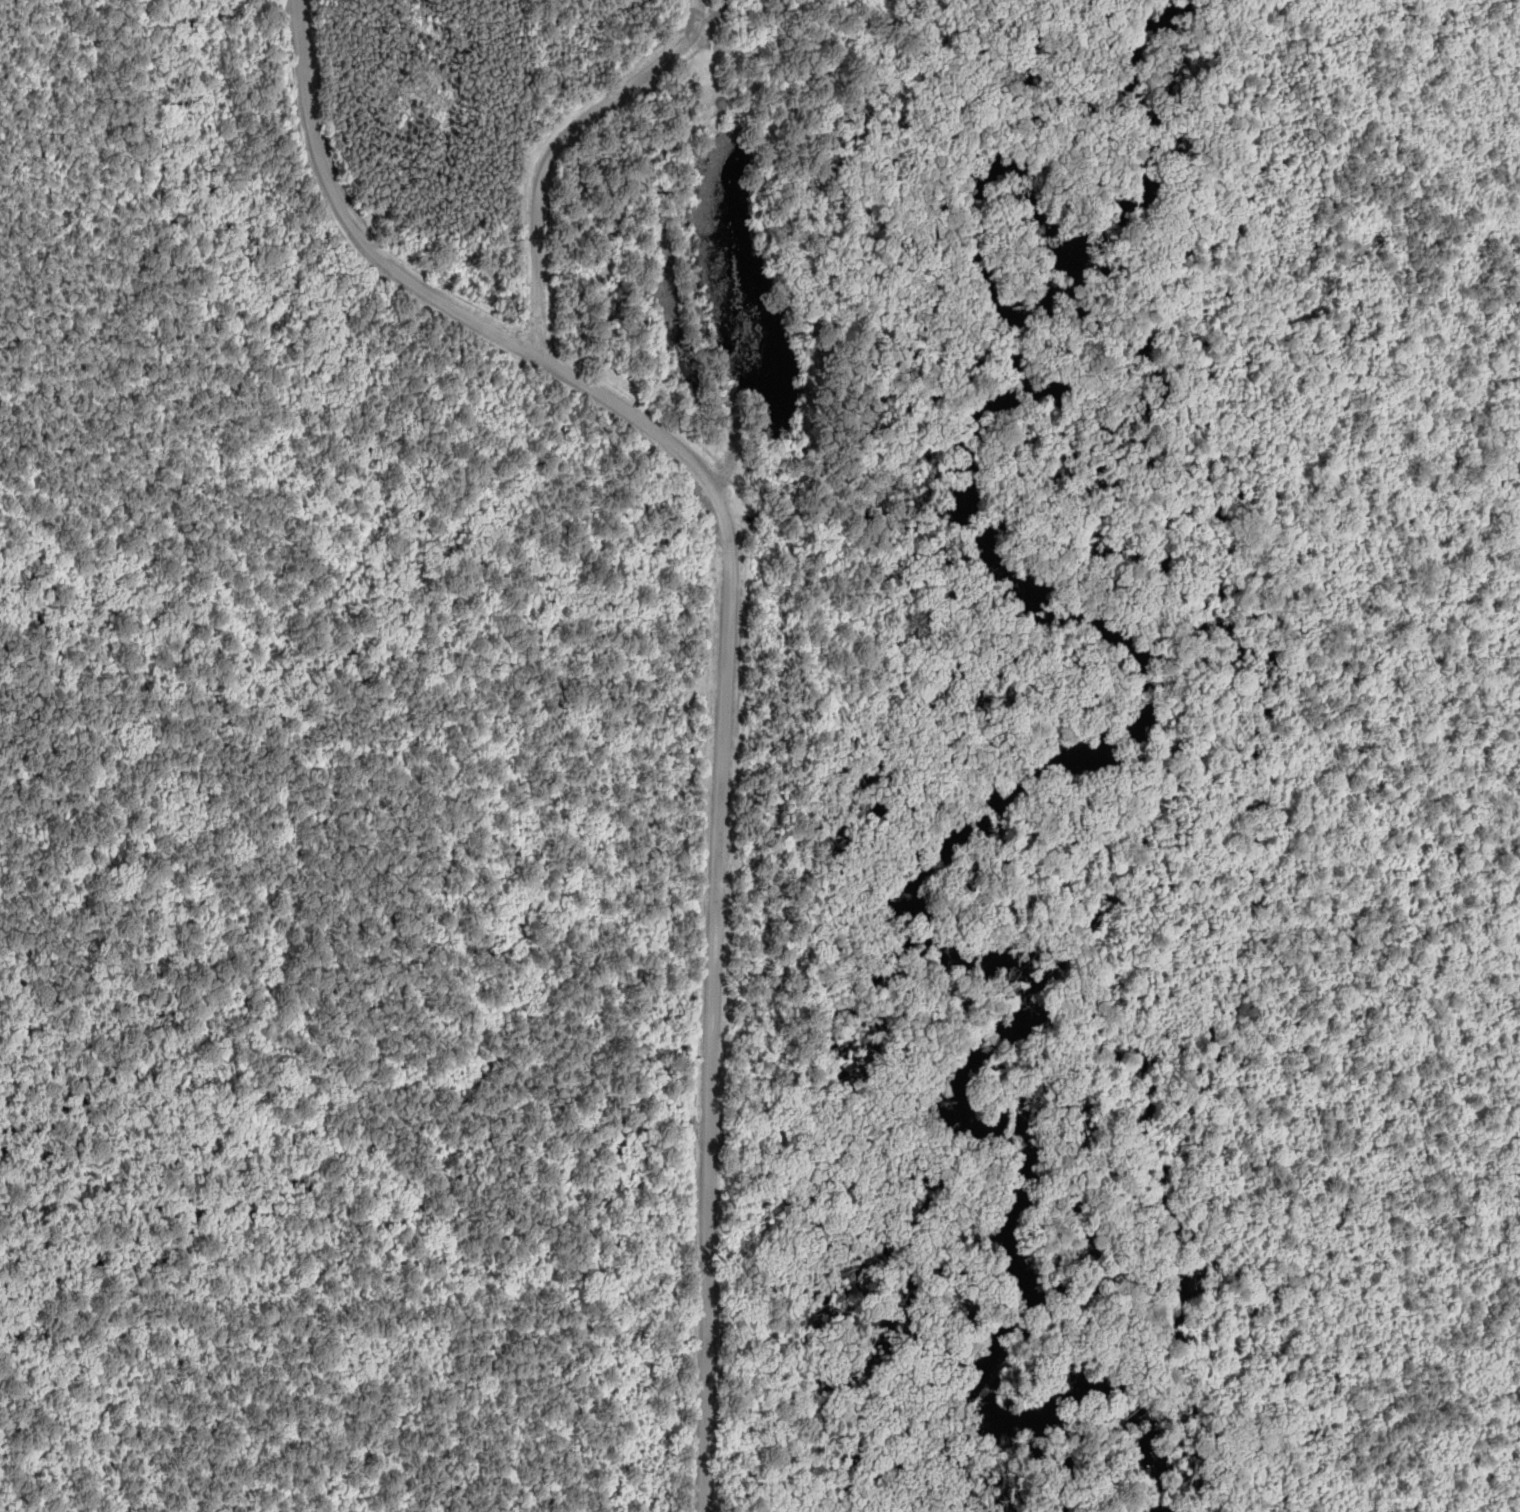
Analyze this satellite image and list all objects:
river: (1152, 34)
road: (555, 147)
road: (352, 222)
road: (629, 411)
road: (732, 447)
river: (1152, 708)
park: (512, 747)
road: (721, 788)
road: (516, 1263)
road: (710, 1305)
road: (794, 1322)
road: (394, 1469)

